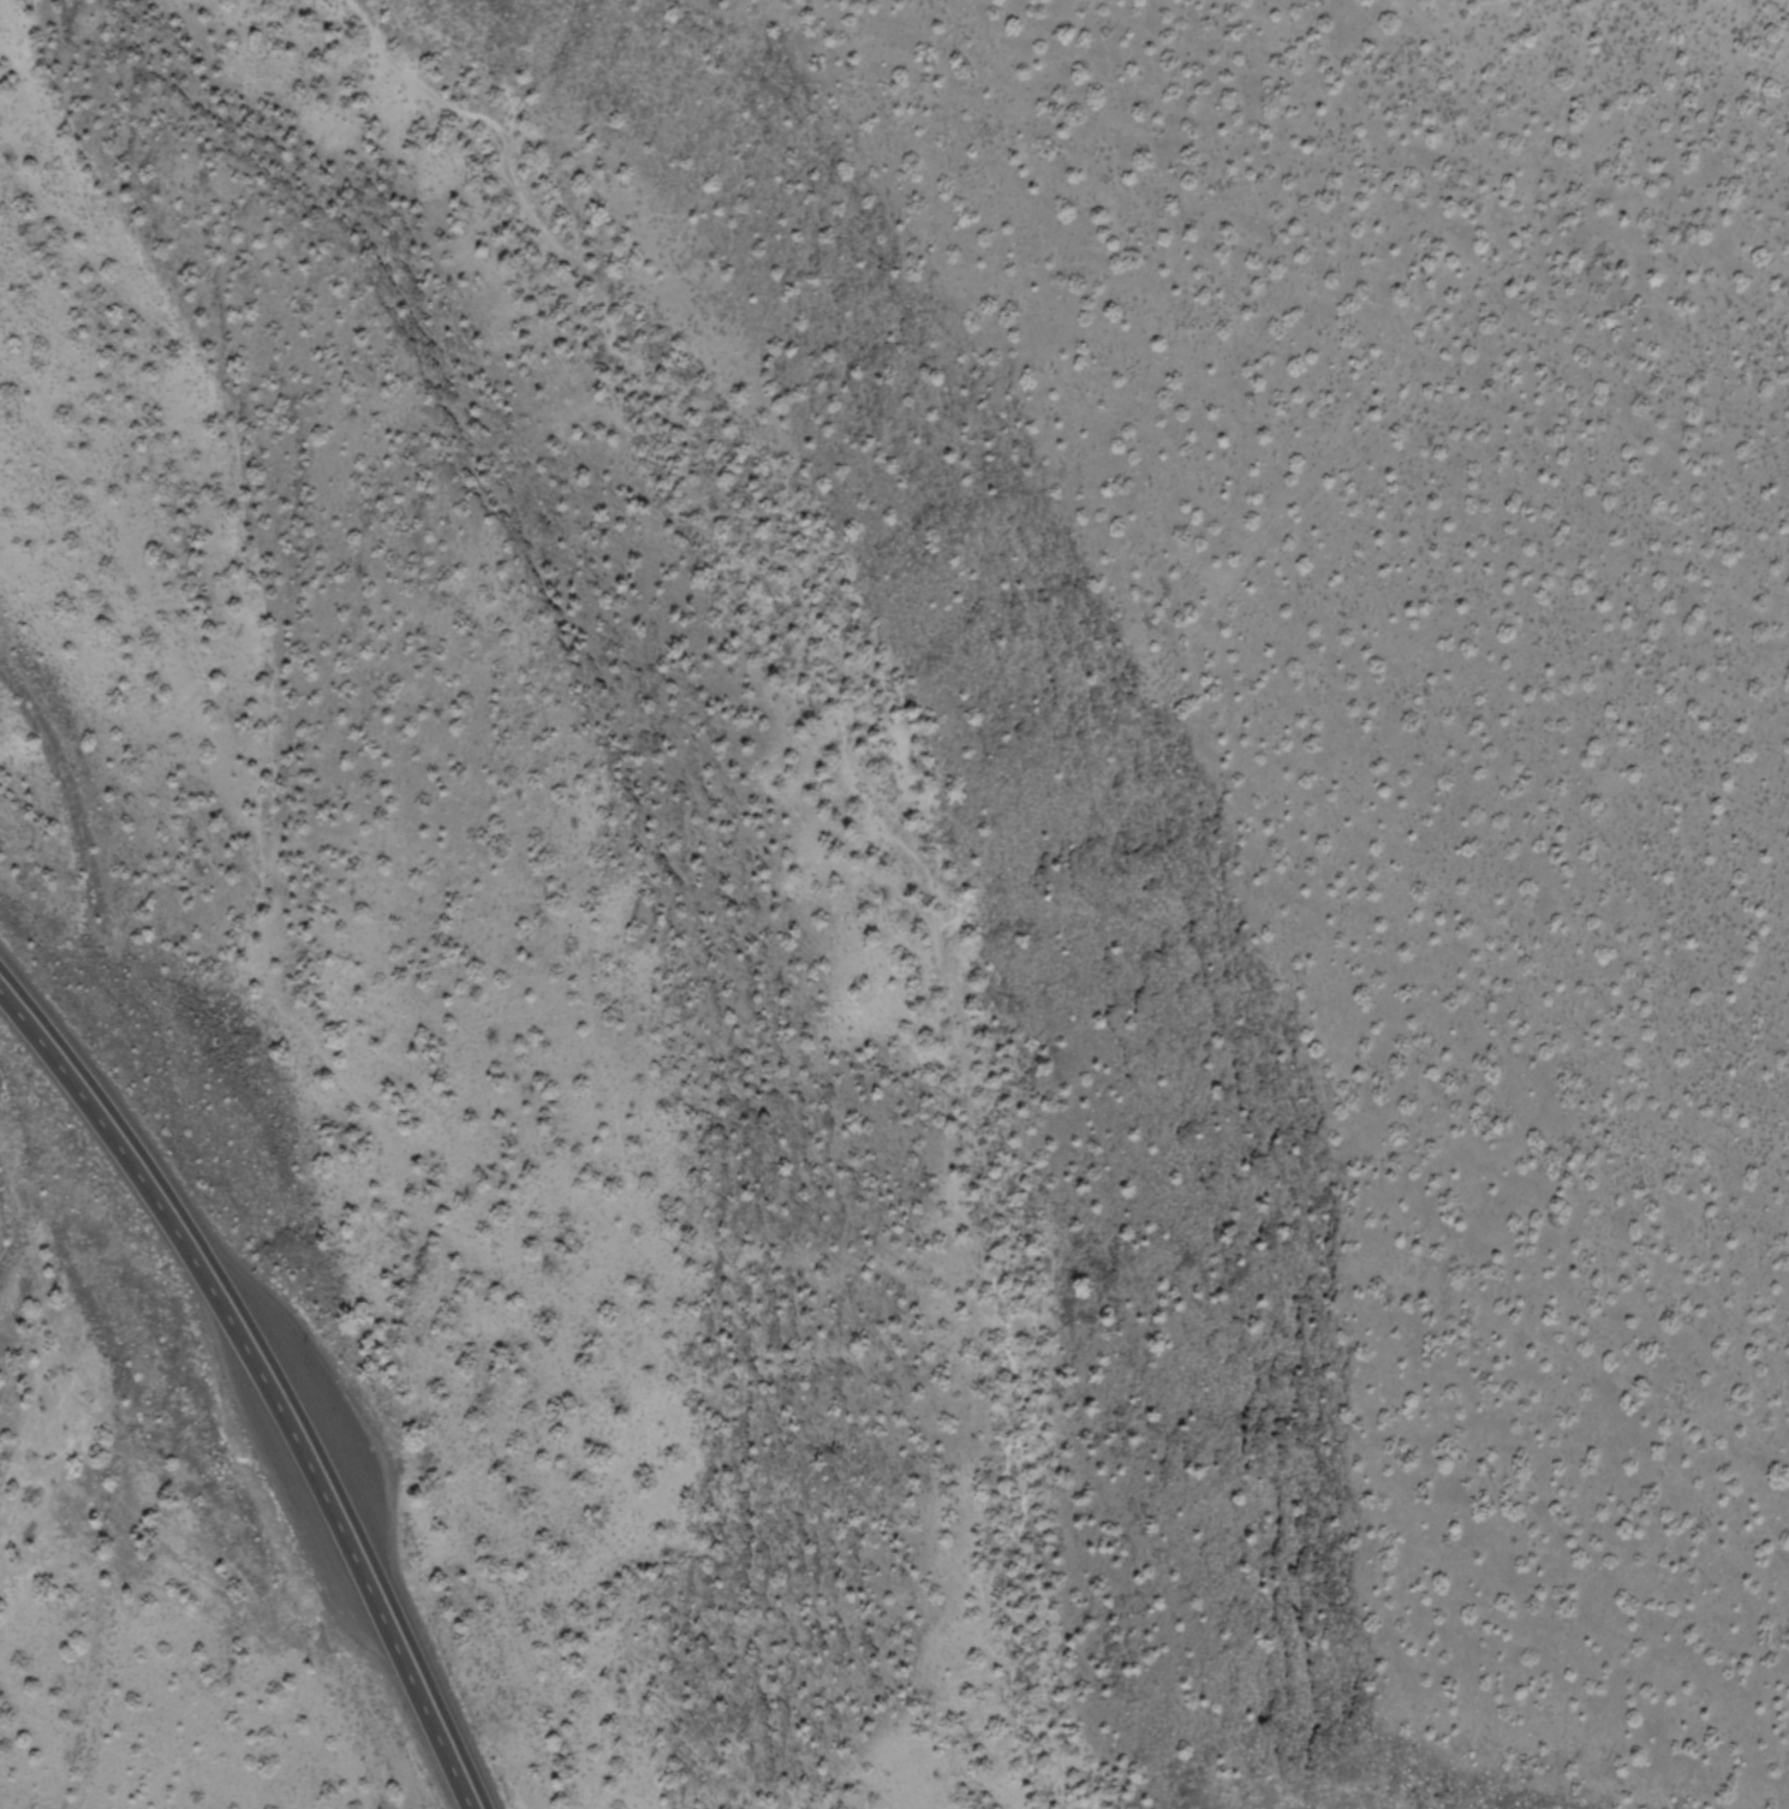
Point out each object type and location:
road: (1409, 335)
road: (890, 822)
road: (272, 1374)

